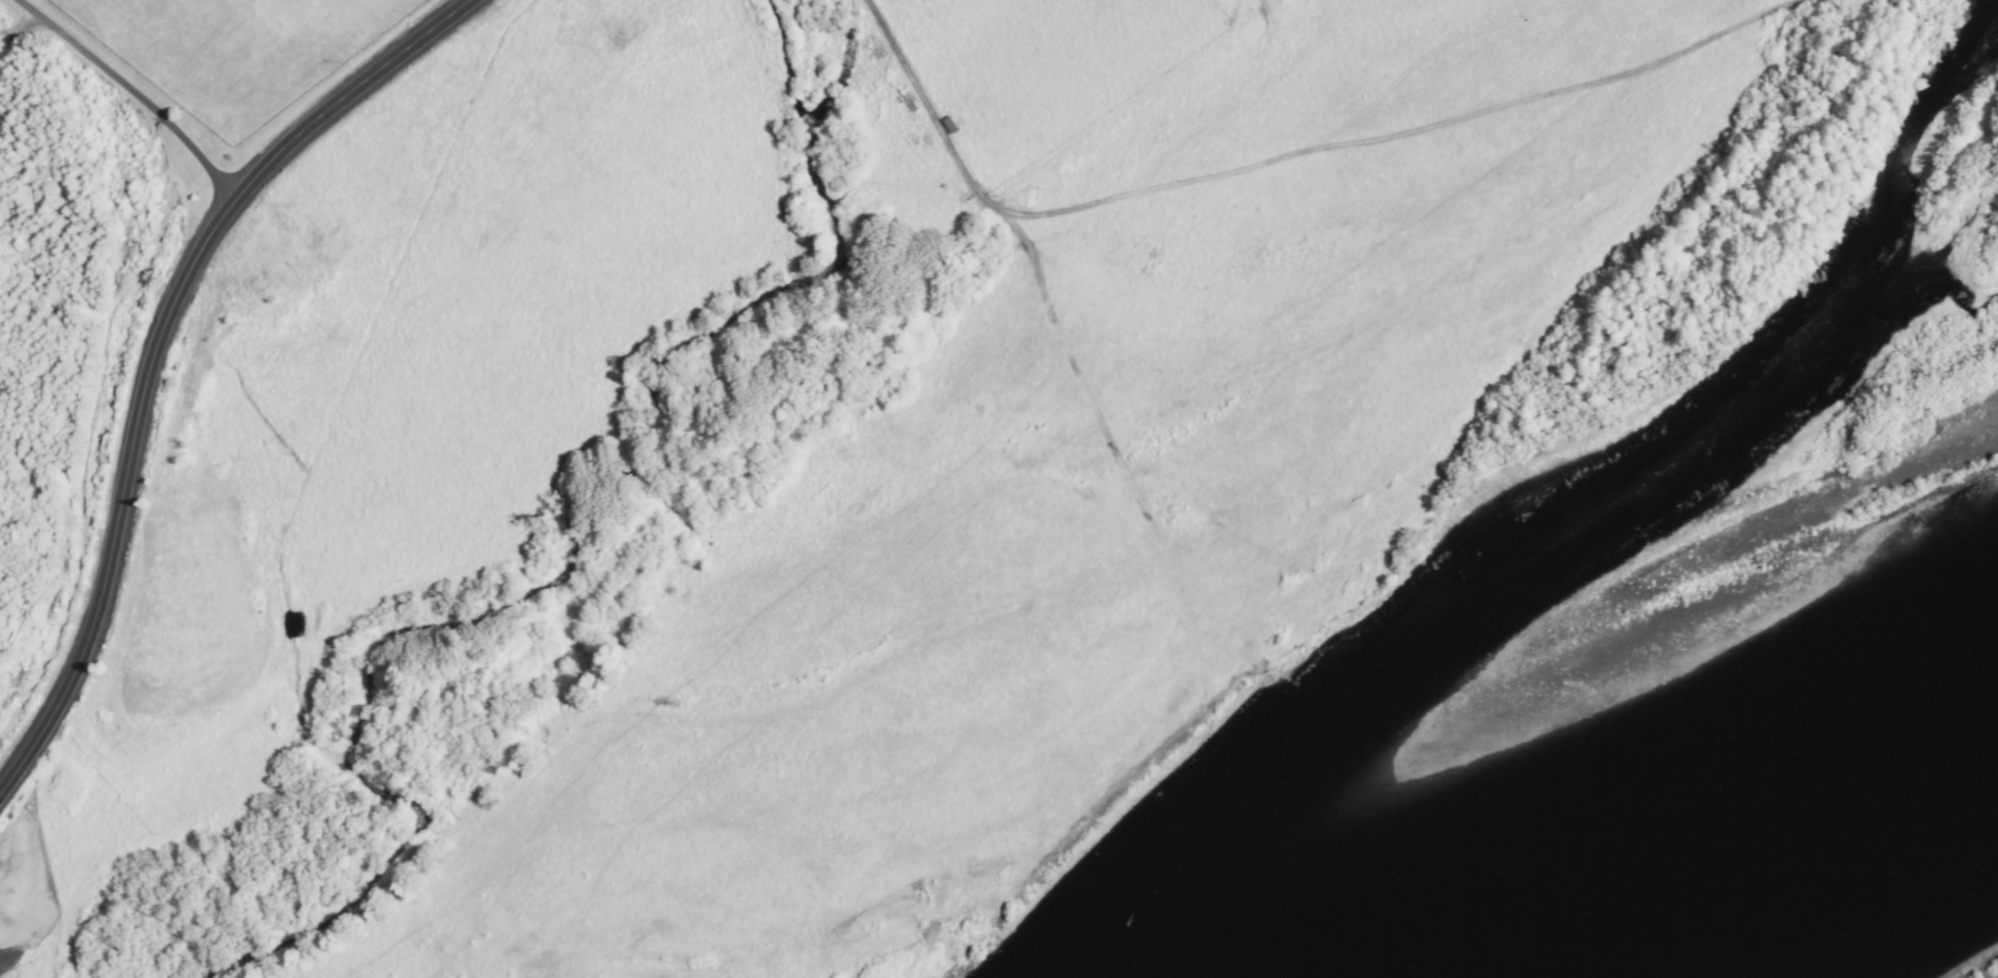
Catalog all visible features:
road: (131, 93)
road: (159, 345)
river: (1700, 735)

